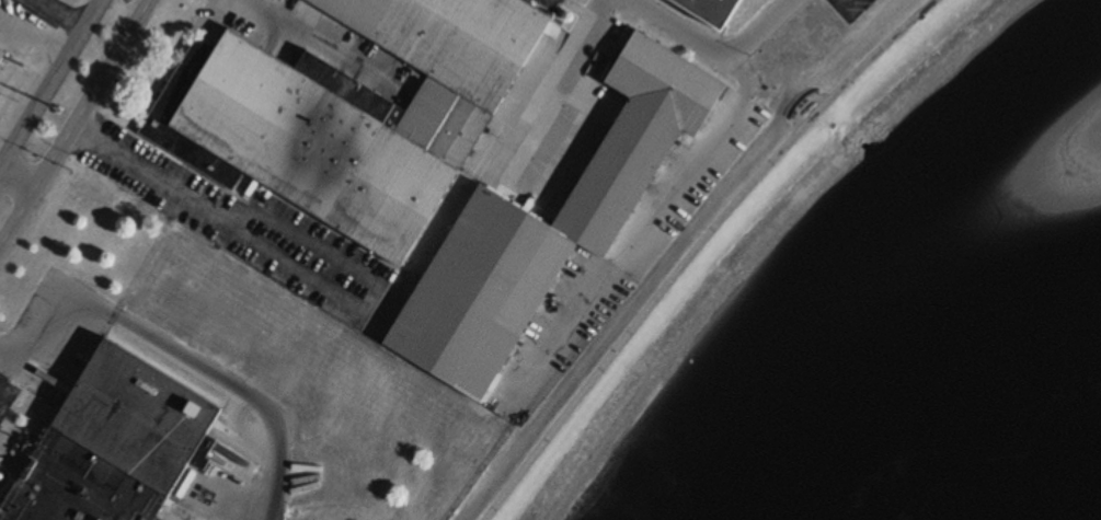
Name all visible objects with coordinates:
building: (718, 10)
road: (756, 27)
road: (675, 30)
road: (31, 37)
building: (3, 54)
road: (48, 80)
power tower: (57, 111)
building: (353, 112)
road: (74, 124)
road: (18, 181)
building: (550, 228)
road: (700, 249)
road: (300, 273)
road: (184, 358)
road: (1, 360)
river: (1005, 446)
building: (119, 449)

